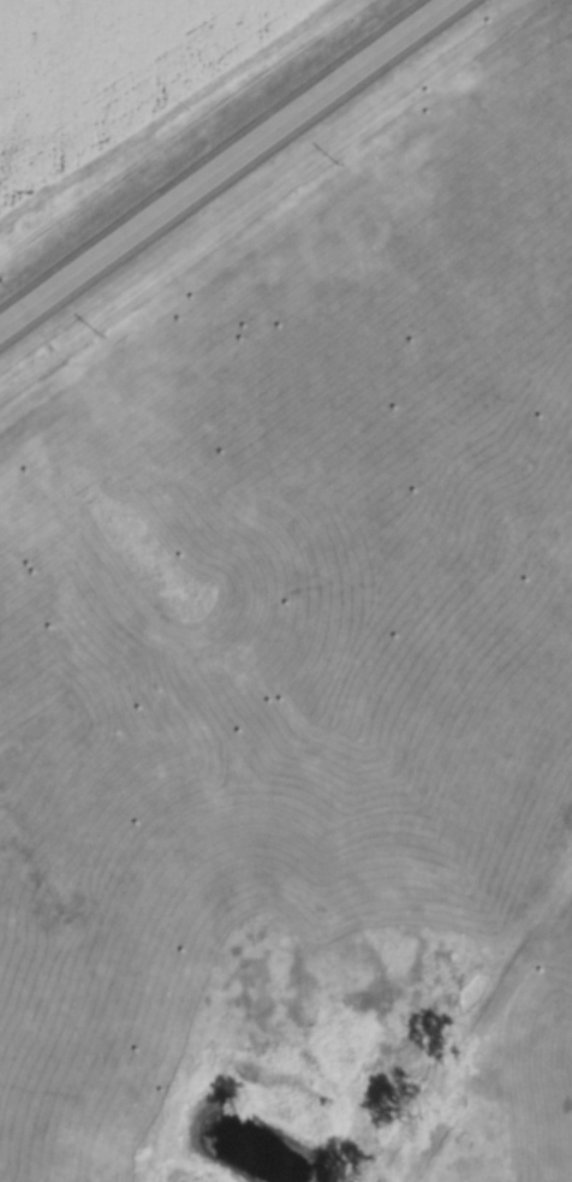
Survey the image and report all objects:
road: (227, 165)

